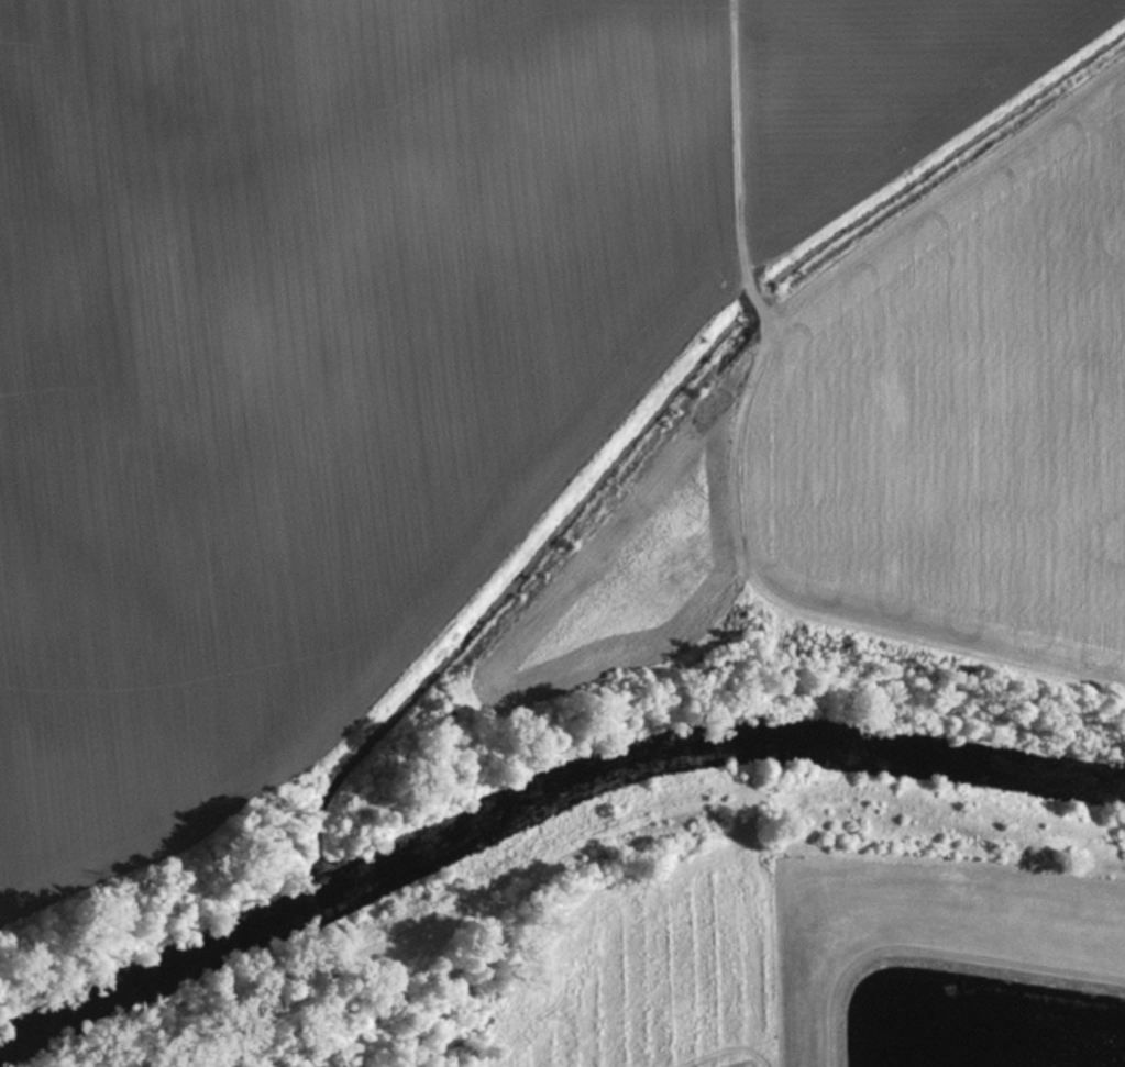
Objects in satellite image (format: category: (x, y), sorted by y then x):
river: (540, 790)

